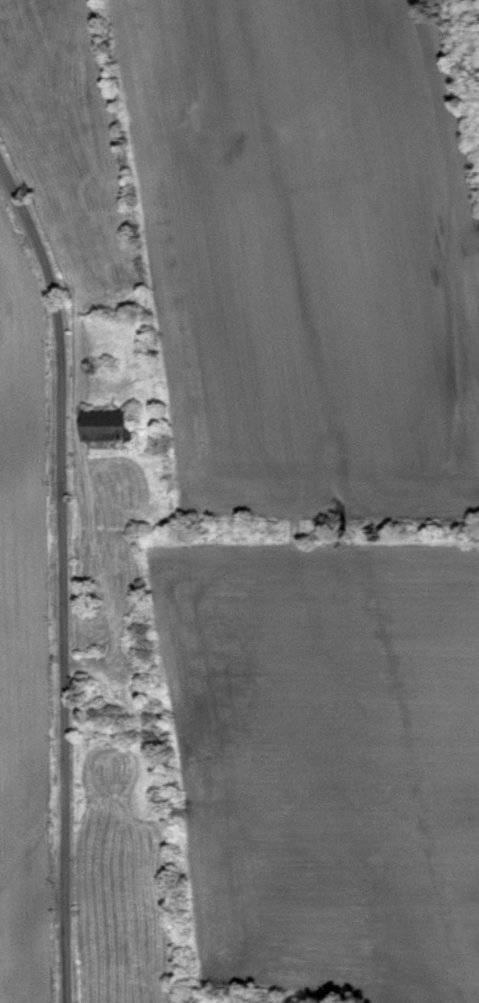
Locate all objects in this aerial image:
building: (114, 425)
road: (66, 572)
road: (33, 640)

